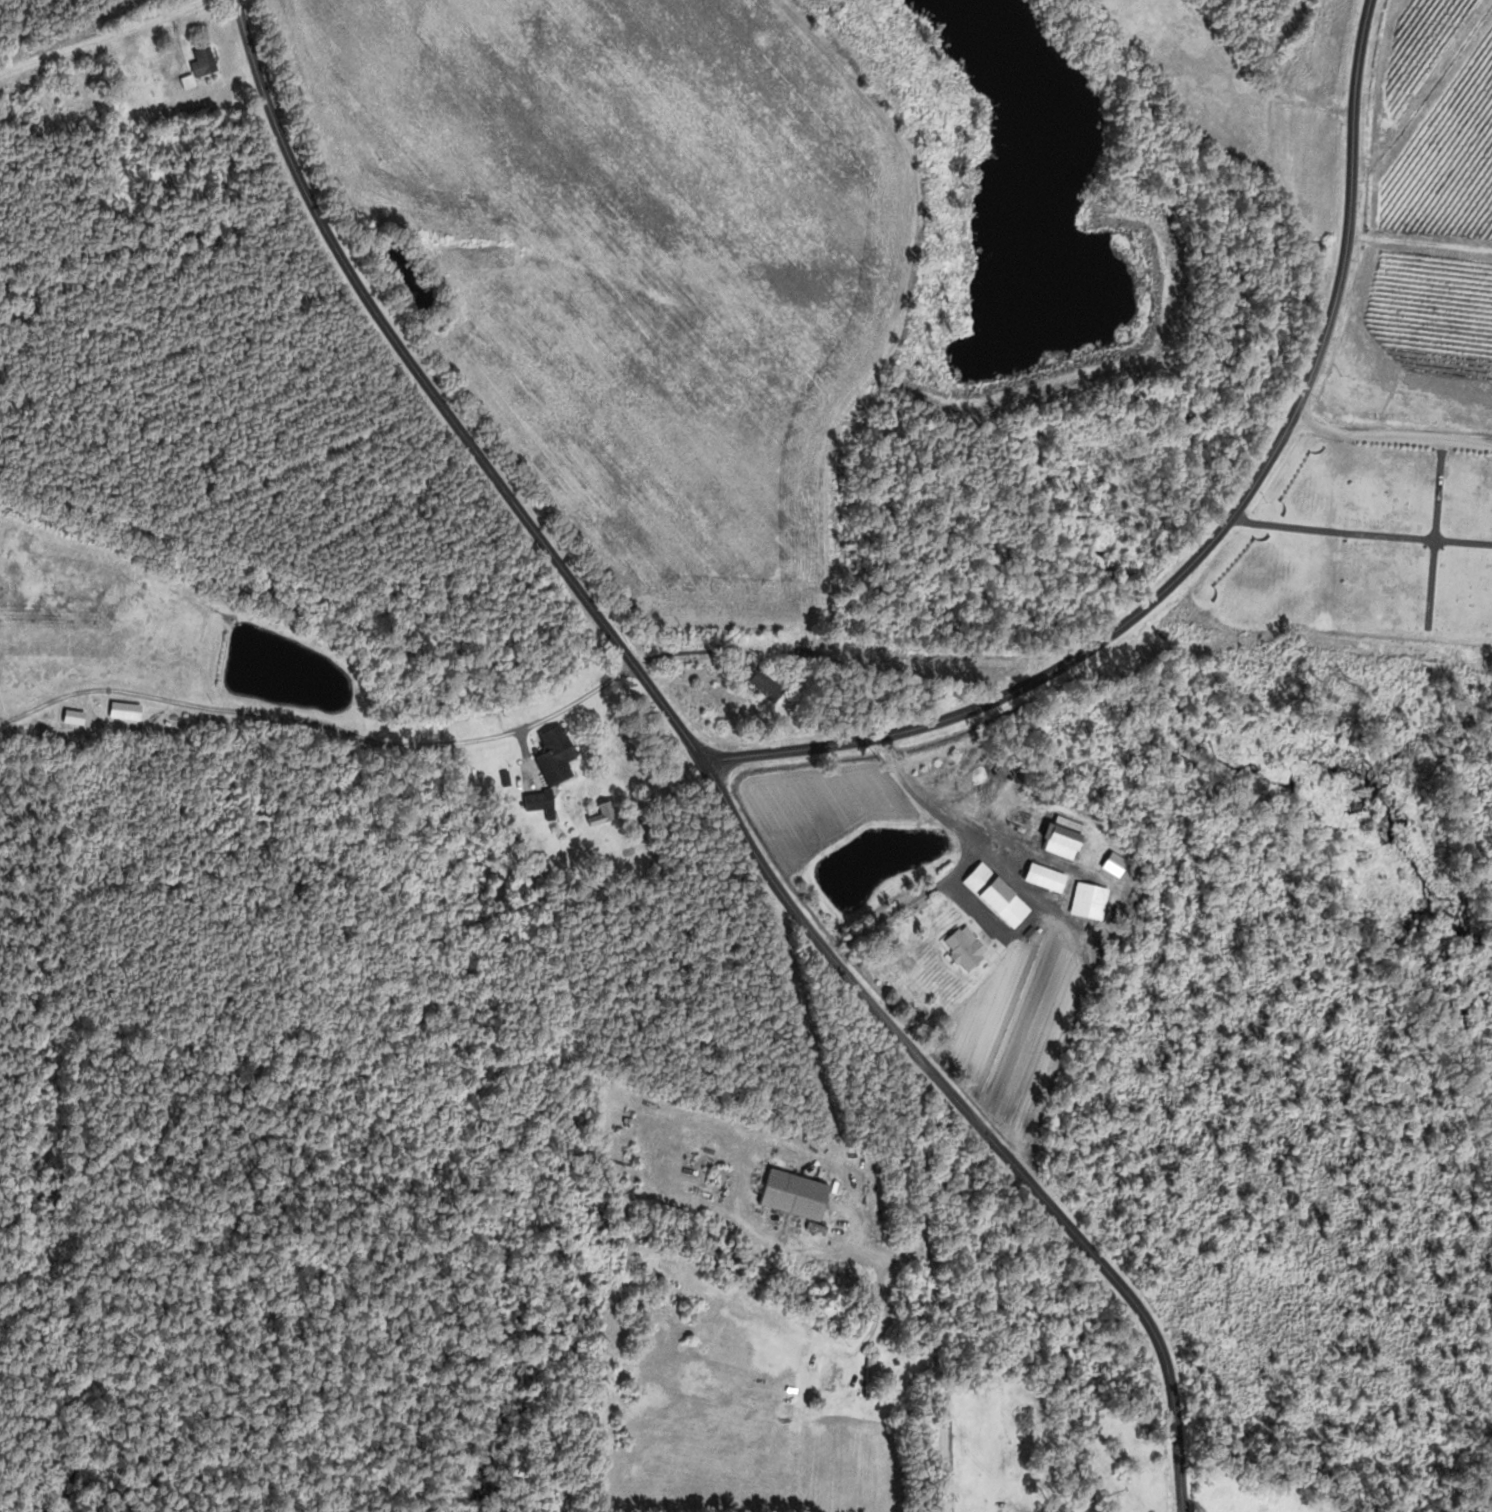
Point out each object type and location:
building: (206, 62)
building: (189, 81)
road: (1410, 324)
road: (1219, 541)
park: (1366, 553)
building: (748, 666)
building: (769, 684)
road: (325, 725)
building: (557, 755)
road: (710, 769)
building: (607, 812)
building: (1048, 878)
building: (999, 897)
building: (1091, 901)
building: (967, 948)
building: (797, 1195)
road: (931, 1278)
building: (871, 1377)

